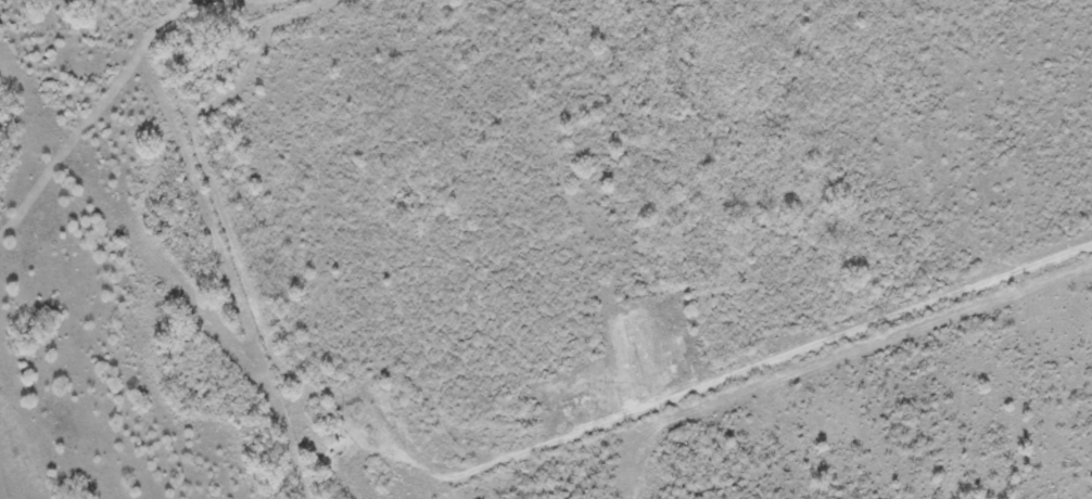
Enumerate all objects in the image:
road: (732, 371)

